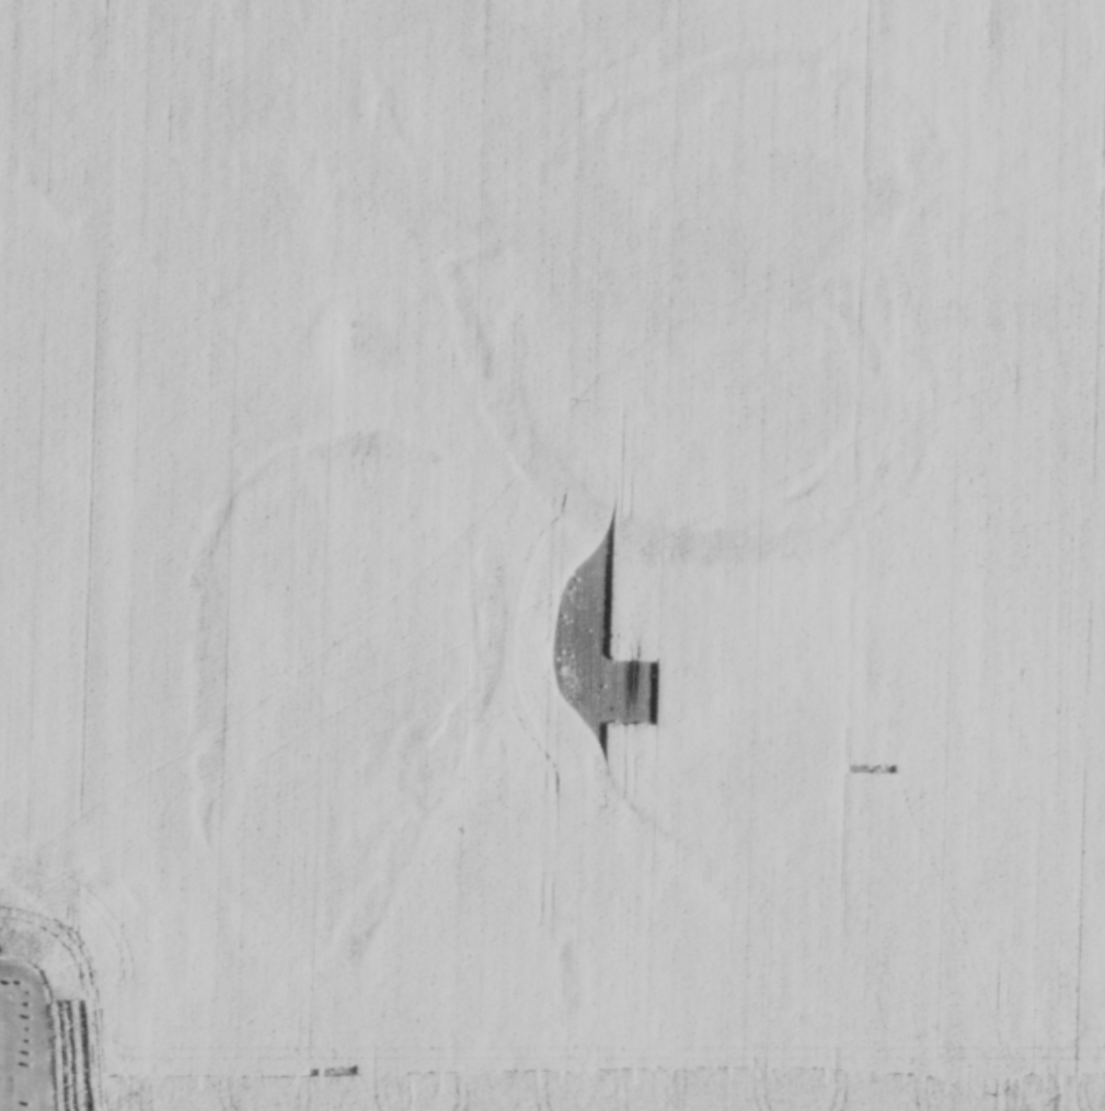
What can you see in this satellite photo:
park: (9, 1046)

